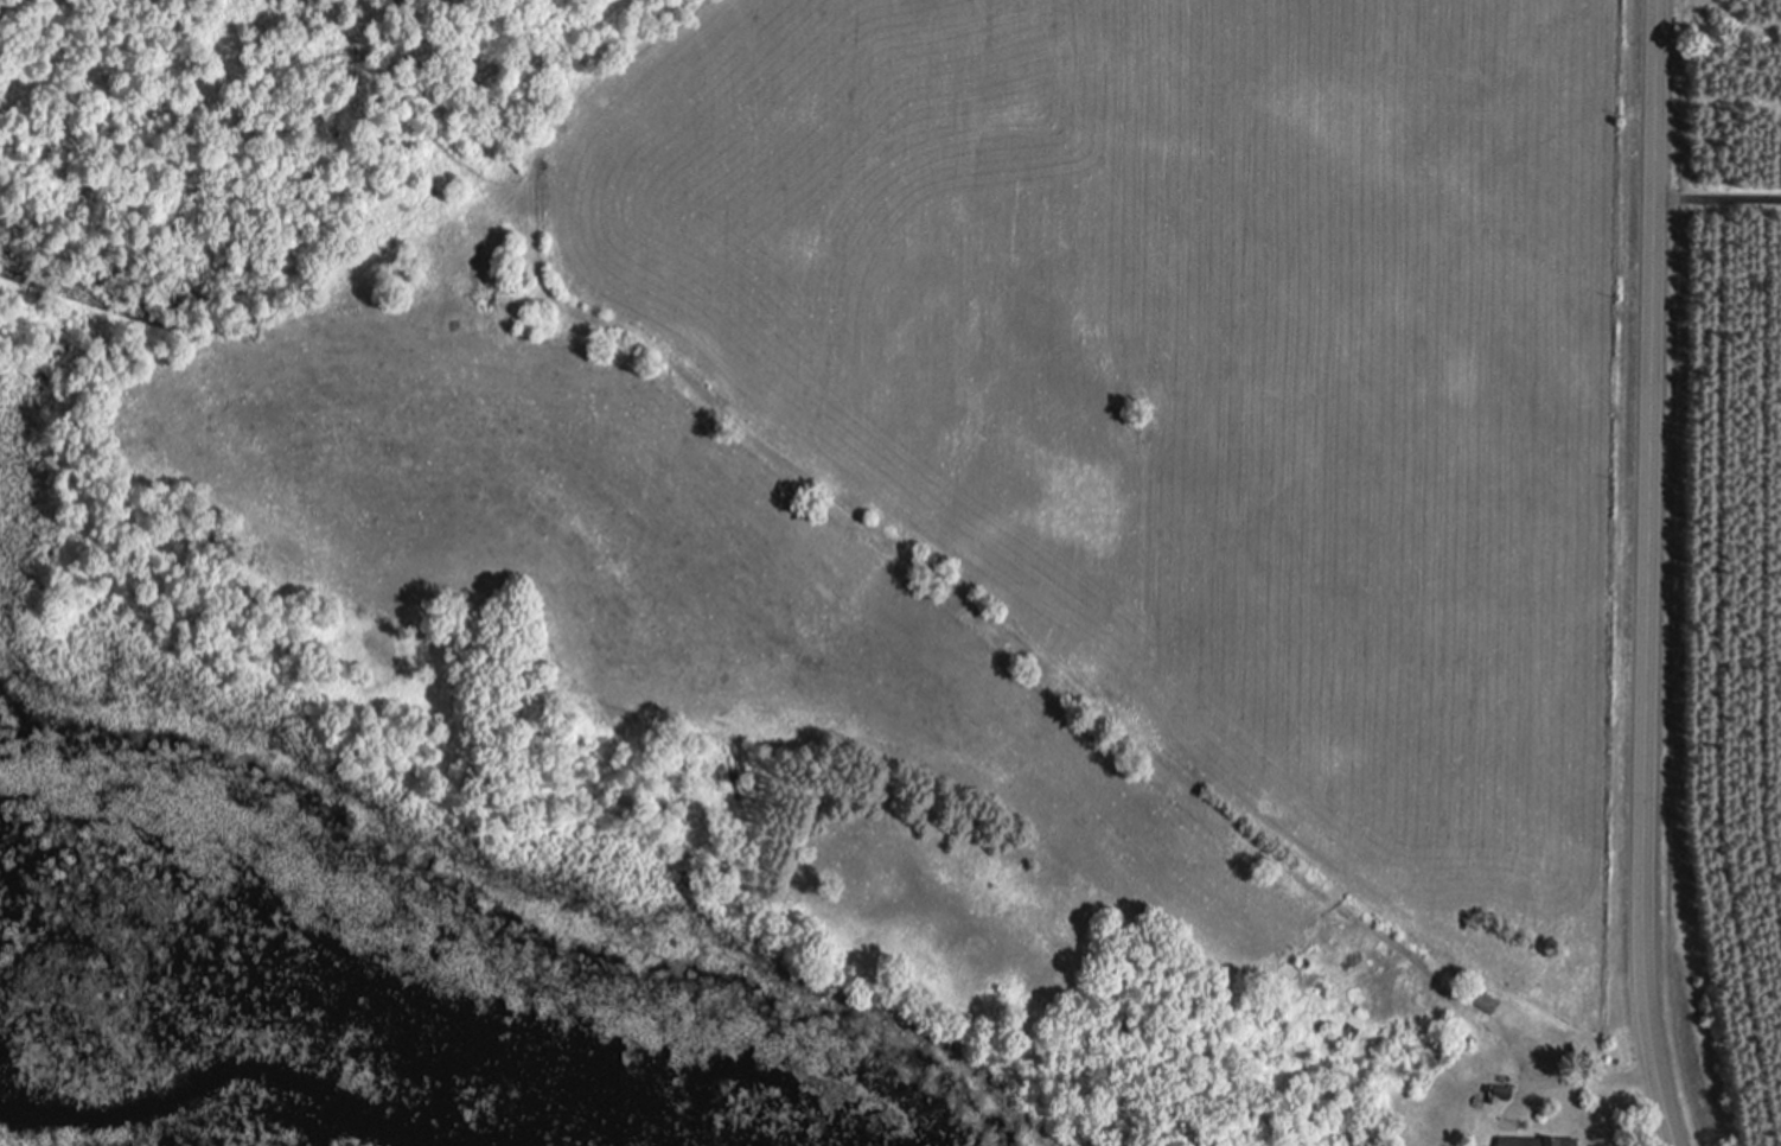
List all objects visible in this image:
road: (1716, 197)
road: (1646, 574)
building: (1481, 999)
road: (1569, 1081)
building: (1532, 1141)

